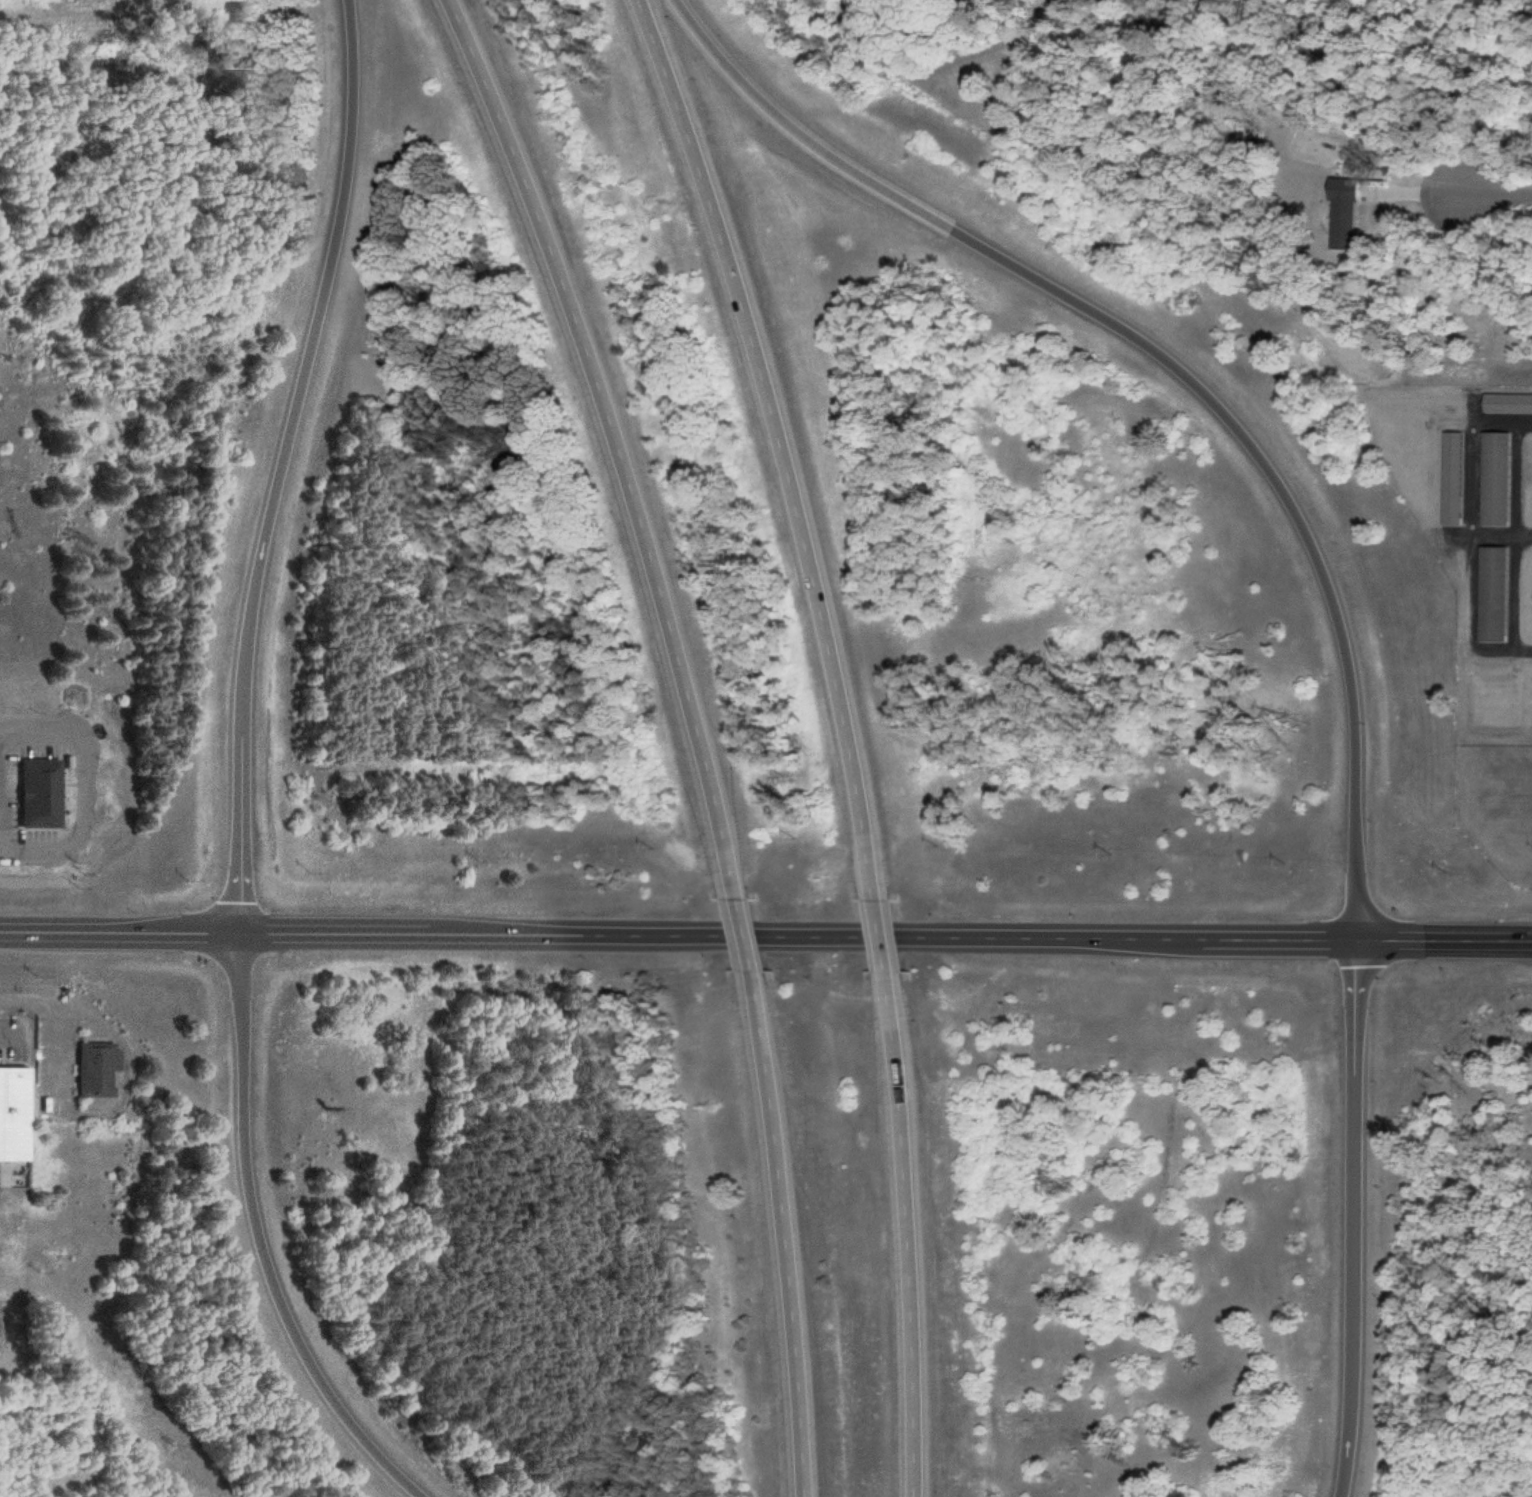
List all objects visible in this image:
road: (29, 9)
road: (1178, 363)
road: (773, 435)
road: (611, 438)
road: (266, 466)
building: (1493, 481)
building: (1492, 596)
building: (38, 794)
road: (878, 933)
road: (116, 934)
road: (685, 938)
road: (738, 940)
road: (1248, 941)
road: (1444, 943)
building: (750, 997)
building: (93, 1069)
building: (766, 1116)
road: (1348, 1219)
road: (908, 1240)
road: (786, 1241)
road: (249, 1244)

